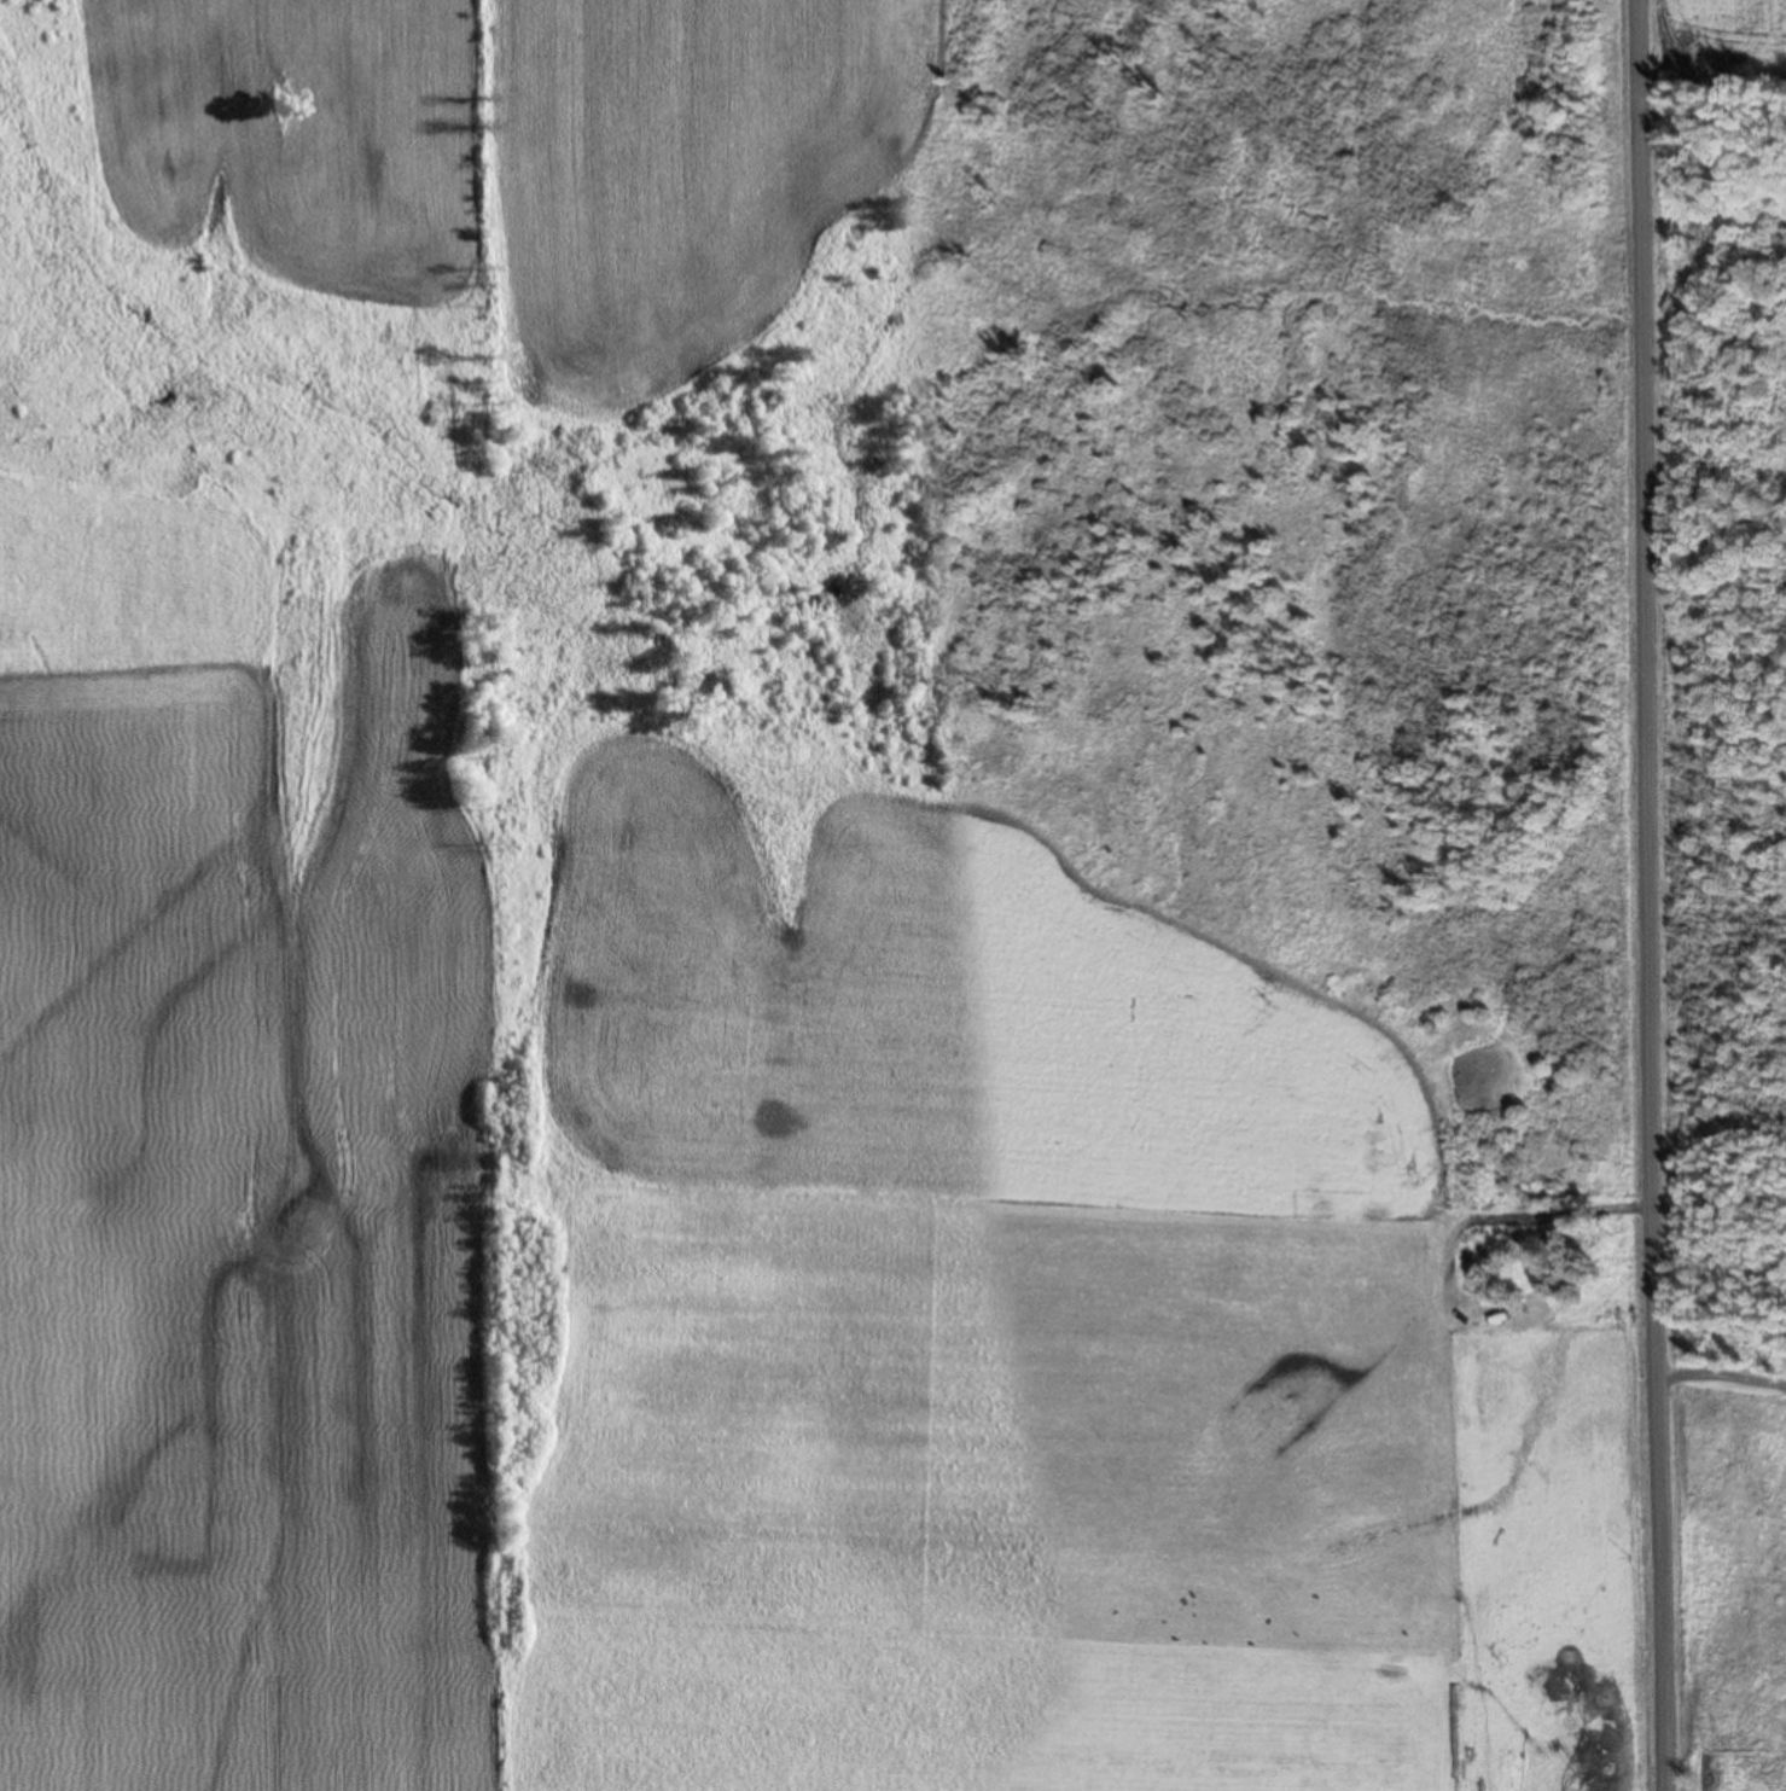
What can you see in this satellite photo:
road: (1660, 895)

